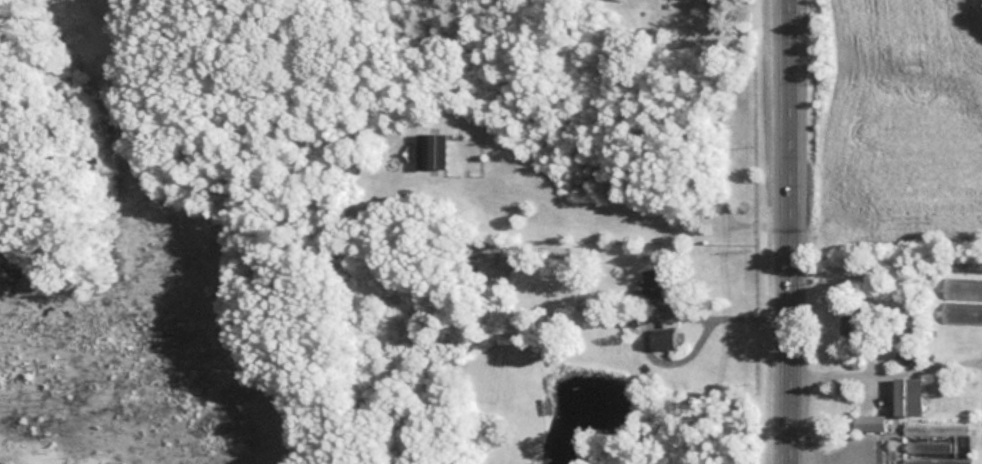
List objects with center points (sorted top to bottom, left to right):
building: (431, 151)
road: (796, 232)
building: (651, 284)
building: (962, 289)
building: (961, 314)
road: (724, 315)
building: (850, 322)
building: (661, 341)
road: (889, 372)
building: (907, 397)
building: (868, 423)
building: (935, 460)
road: (828, 461)

